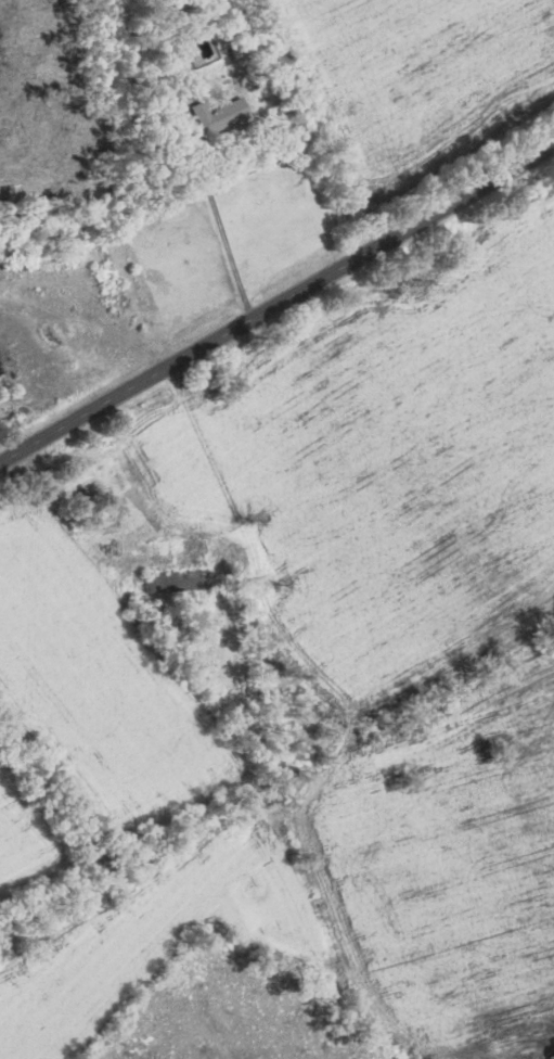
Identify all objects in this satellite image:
road: (276, 304)
building: (165, 583)

